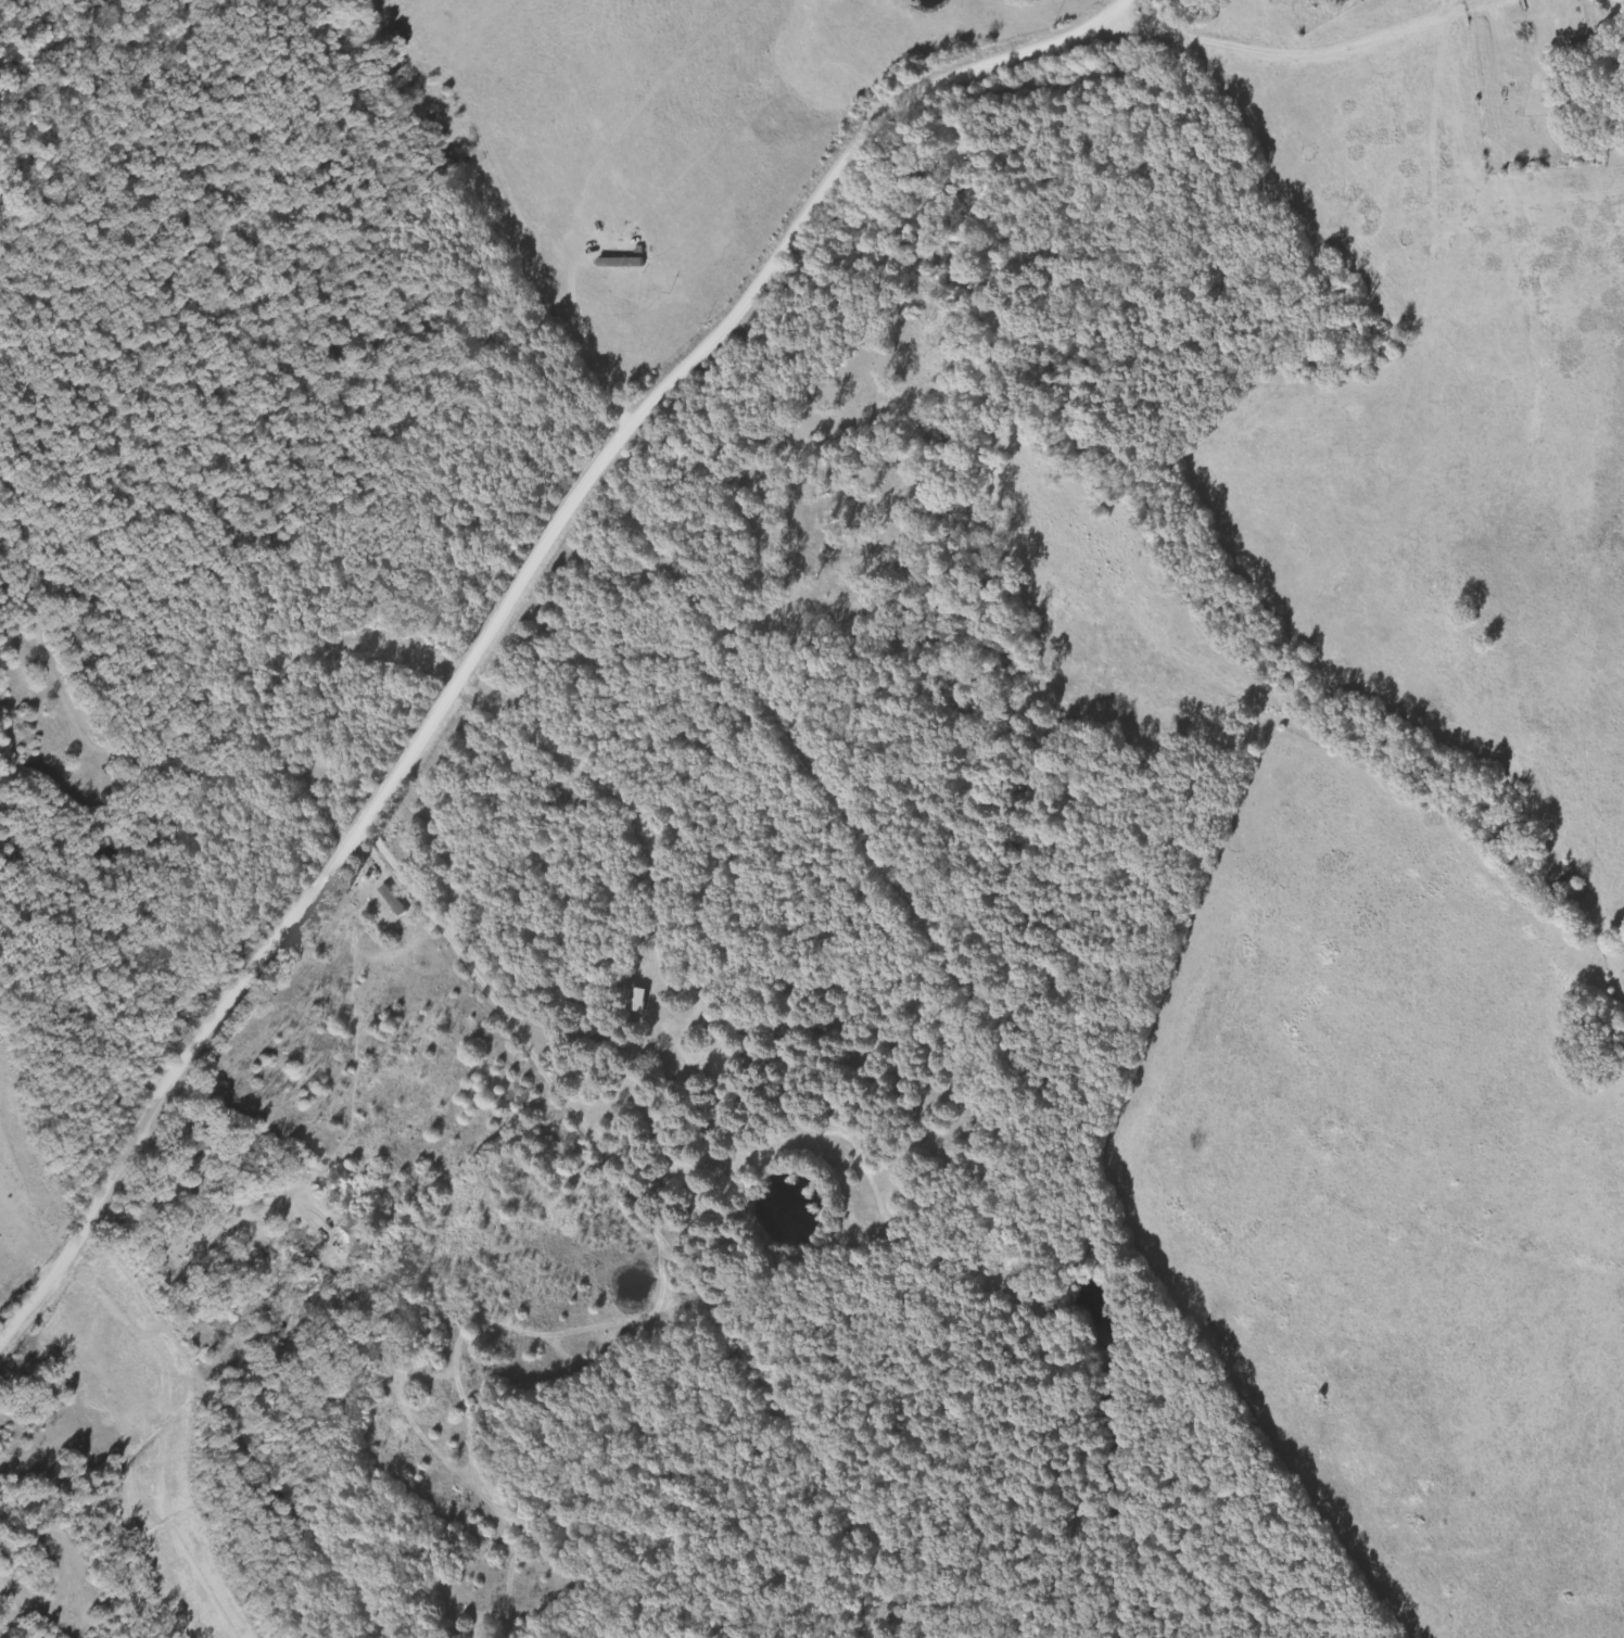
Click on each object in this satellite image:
building: (1581, 53)
building: (623, 263)
road: (507, 611)
building: (640, 999)
building: (200, 1145)
building: (358, 1229)
road: (259, 1239)

